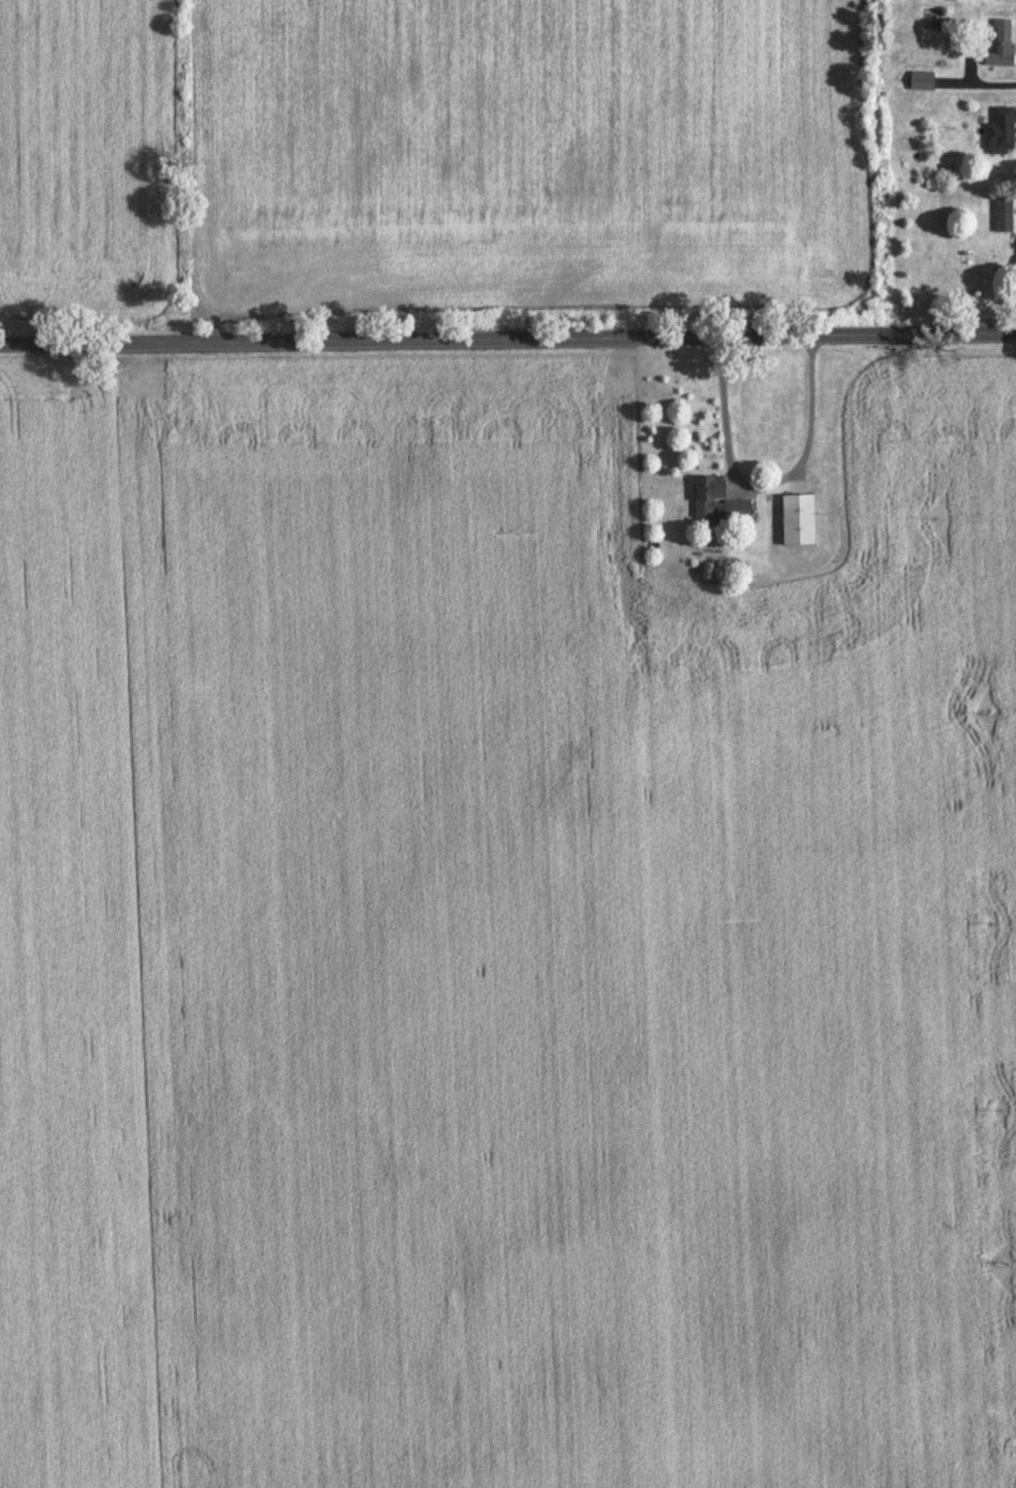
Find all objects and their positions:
building: (1000, 44)
road: (992, 78)
building: (923, 82)
building: (1003, 131)
crop: (435, 159)
building: (1004, 216)
road: (508, 322)
road: (761, 468)
building: (710, 496)
building: (739, 512)
building: (800, 521)

